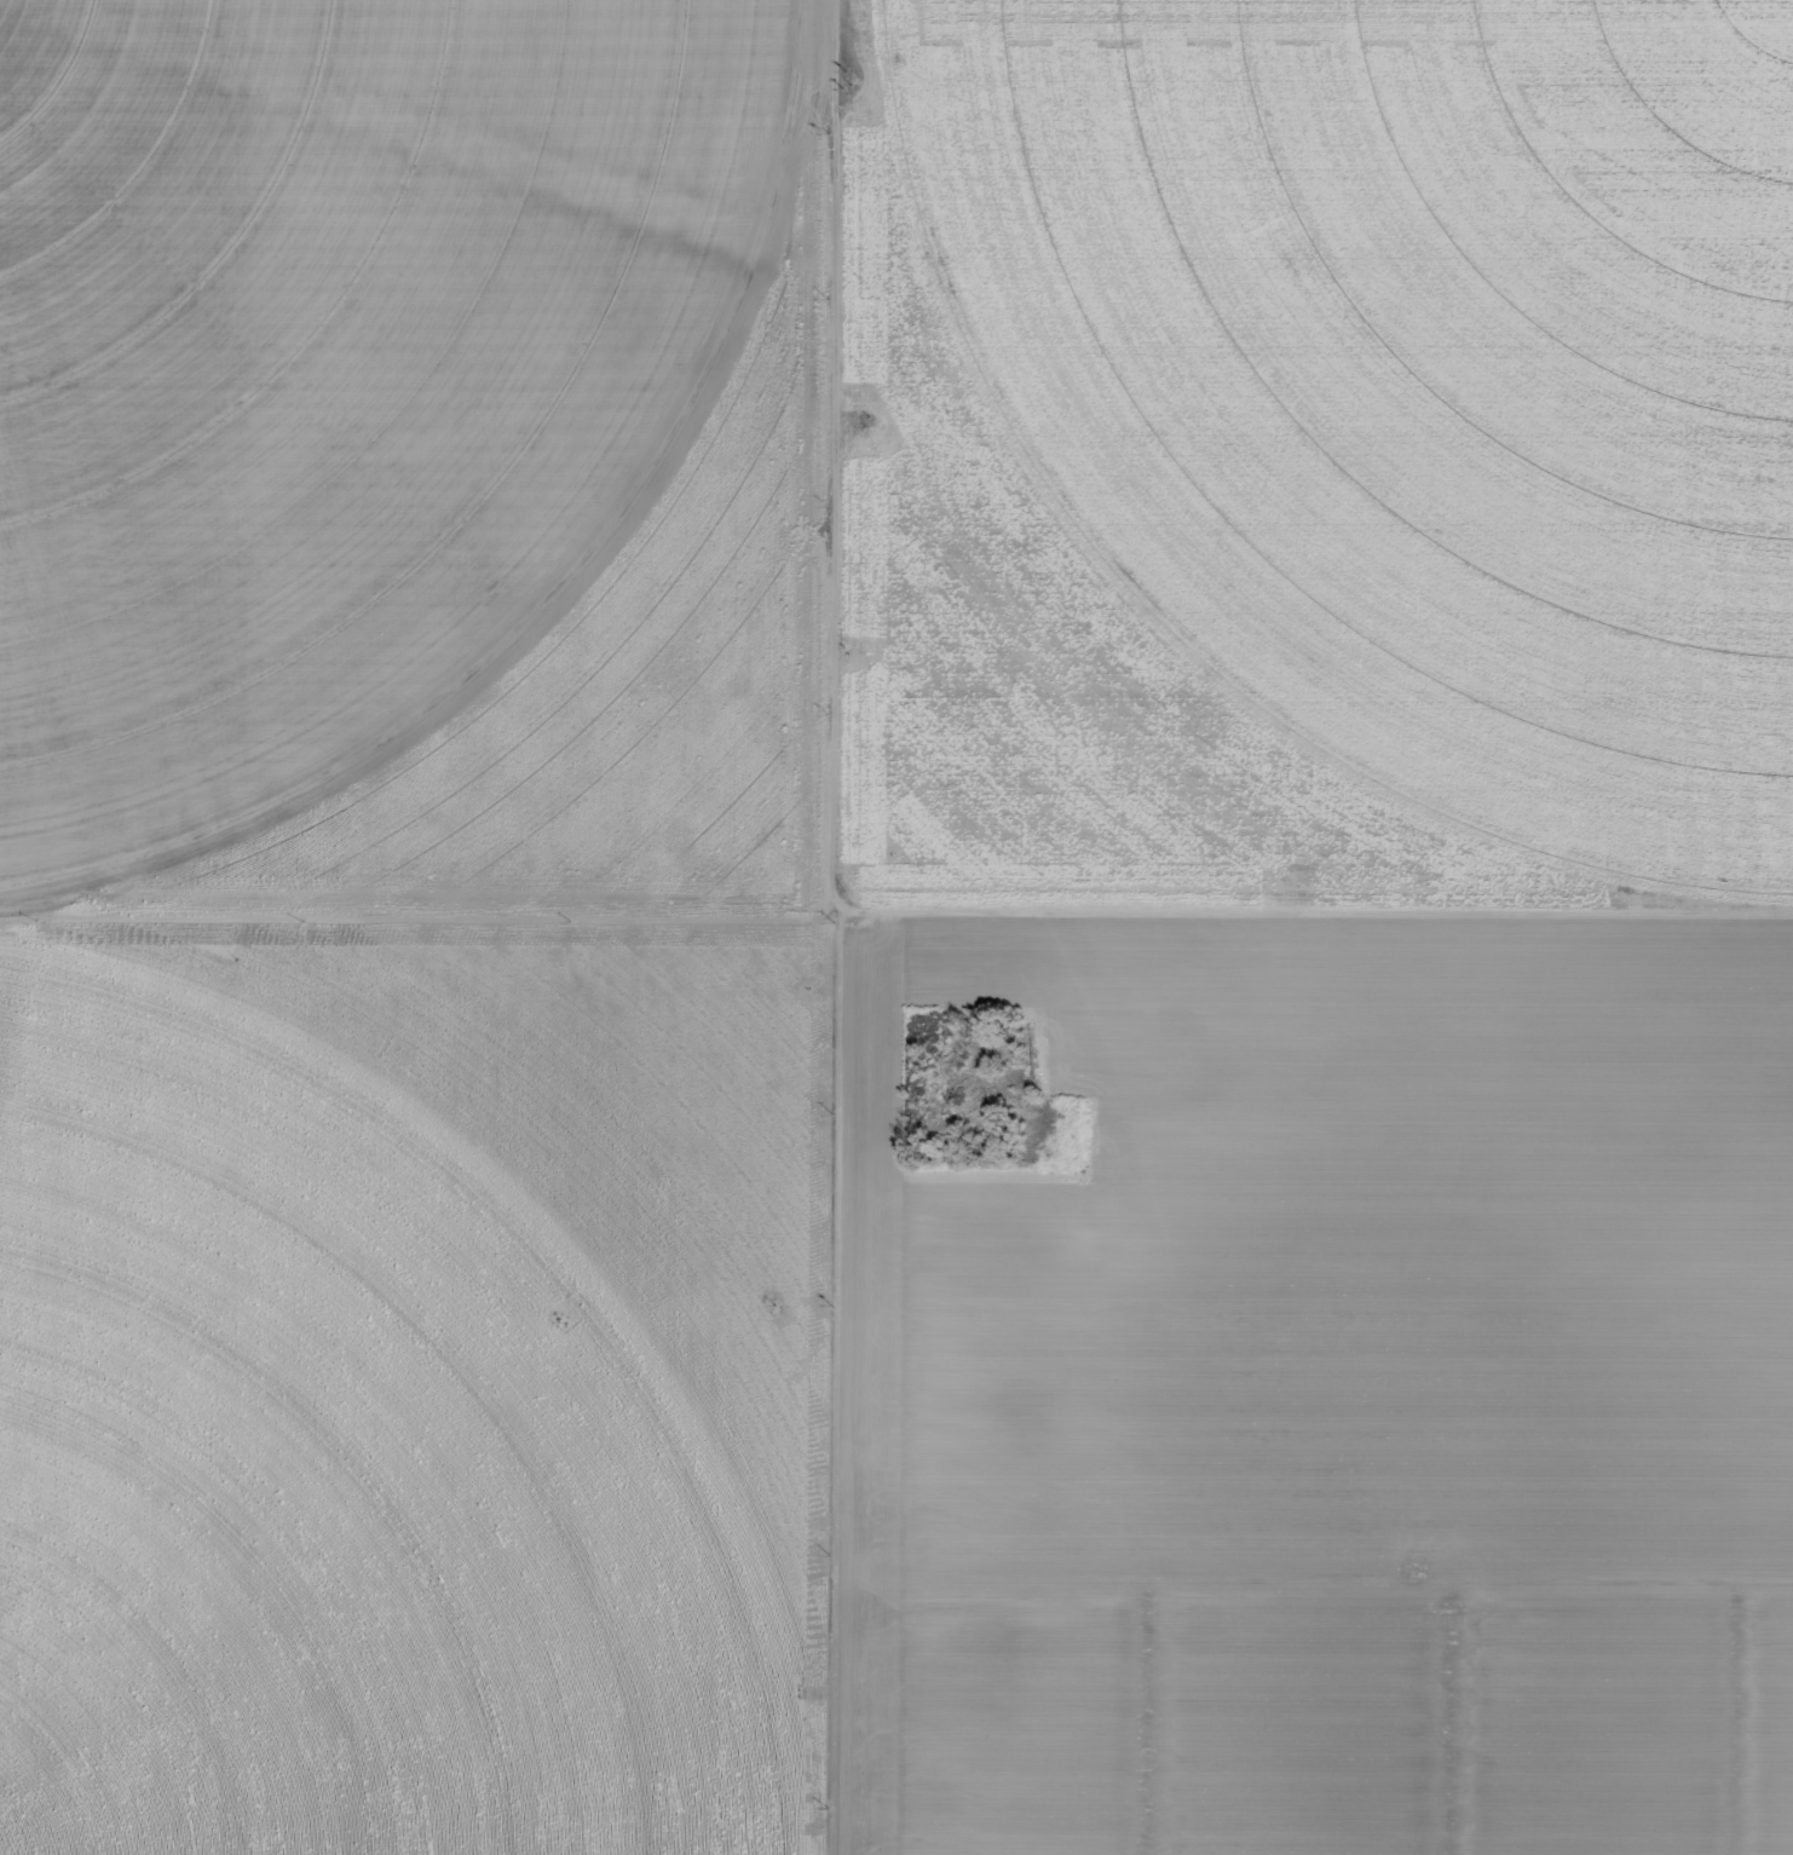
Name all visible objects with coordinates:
road: (422, 900)
road: (846, 927)

